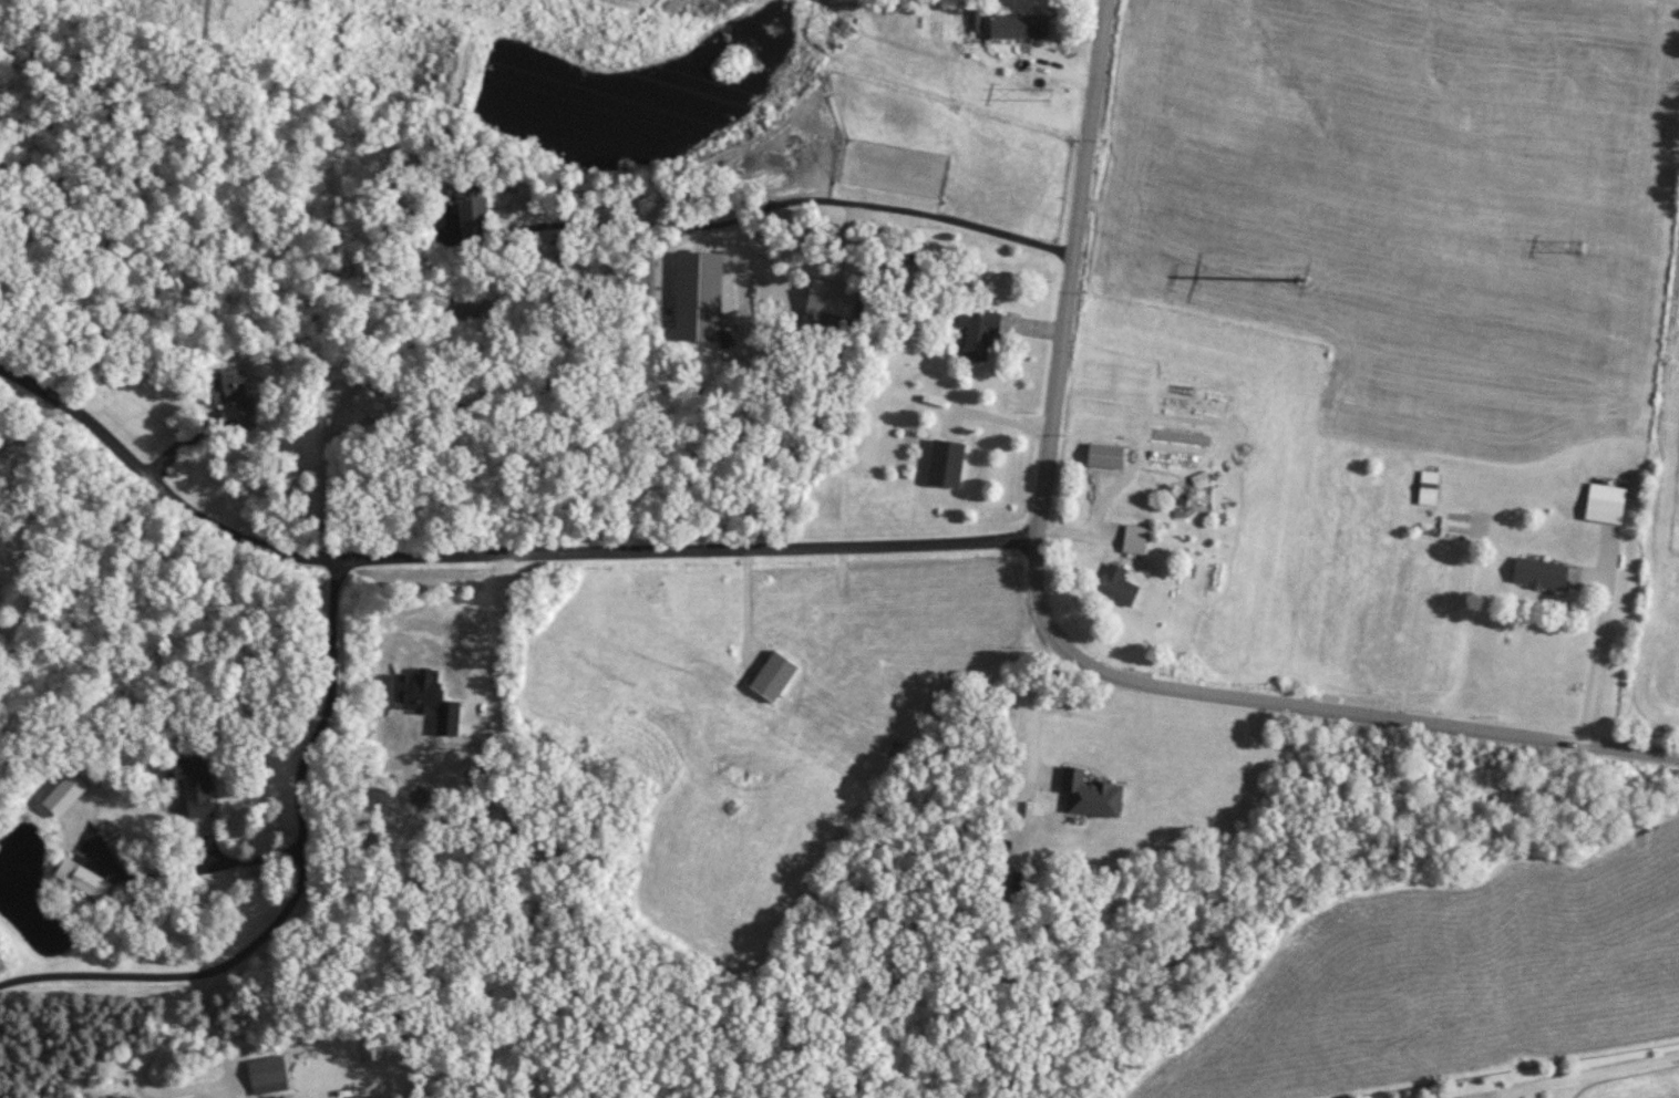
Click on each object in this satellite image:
building: (1019, 27)
power tower: (1049, 91)
building: (474, 209)
road: (758, 209)
power tower: (1579, 245)
power tower: (1304, 278)
building: (428, 294)
building: (700, 296)
building: (832, 301)
building: (980, 333)
building: (237, 396)
building: (372, 403)
road: (997, 417)
road: (30, 428)
building: (1106, 455)
building: (947, 463)
building: (1430, 487)
road: (327, 490)
building: (1606, 510)
building: (1136, 539)
road: (491, 556)
building: (1542, 573)
building: (1119, 587)
road: (746, 602)
road: (477, 618)
road: (1052, 636)
road: (1592, 667)
road: (1033, 707)
building: (197, 784)
building: (1092, 795)
road: (188, 870)
building: (85, 880)
road: (299, 889)
road: (151, 1050)
building: (268, 1070)
road: (1592, 1071)

